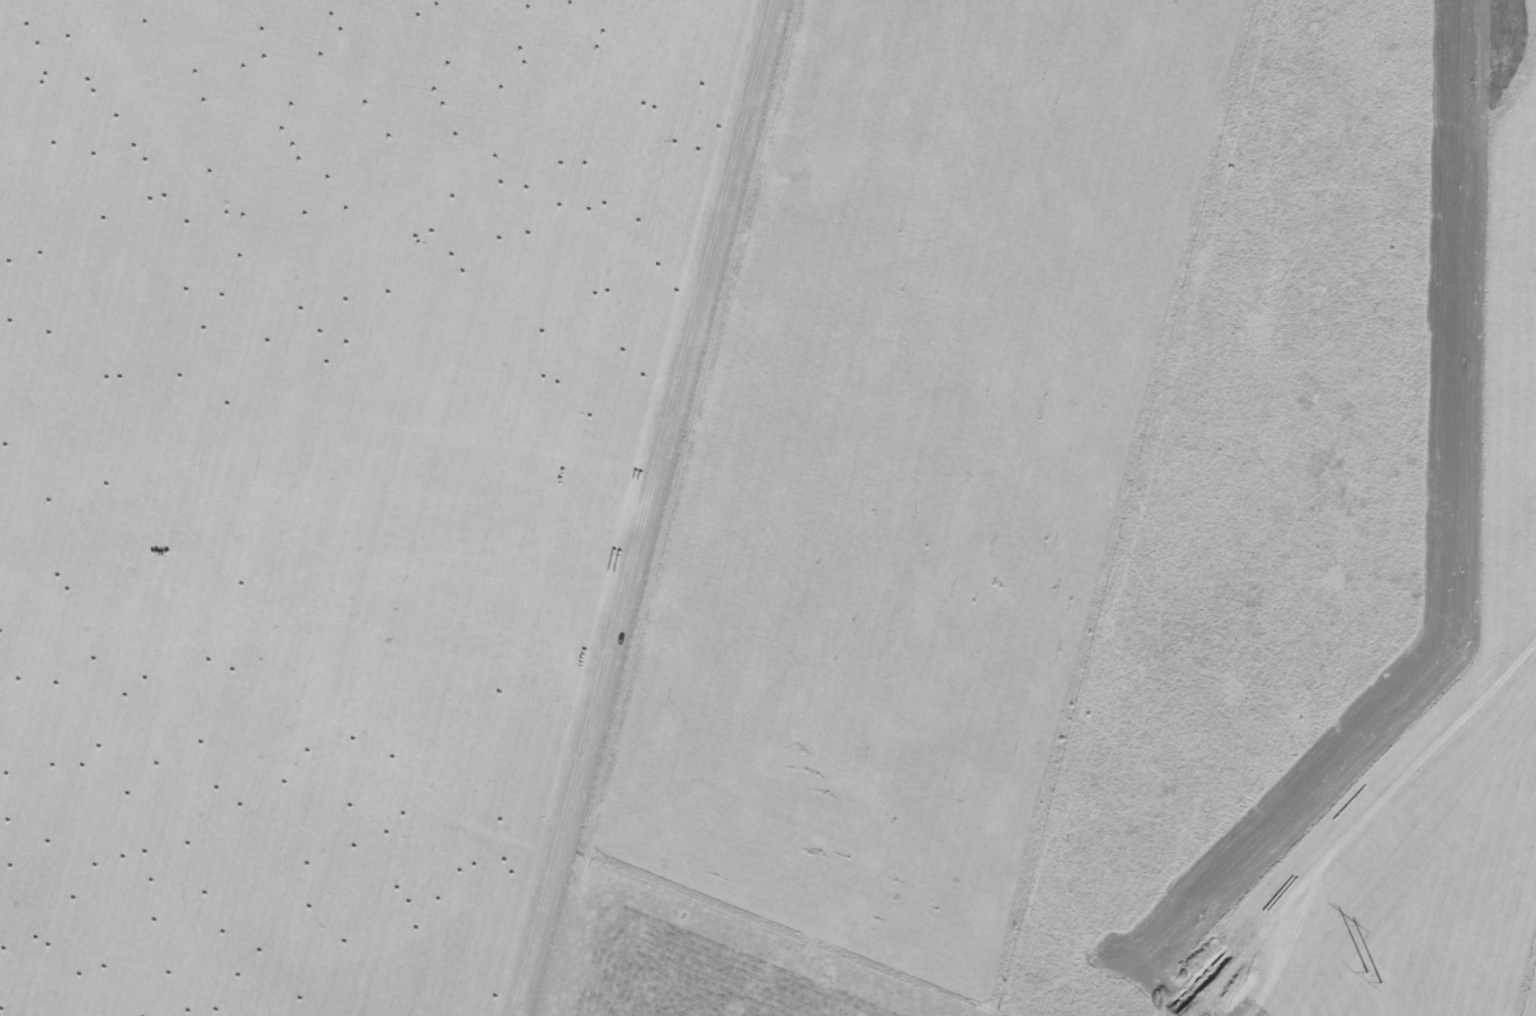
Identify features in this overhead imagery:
power tower: (1381, 973)

